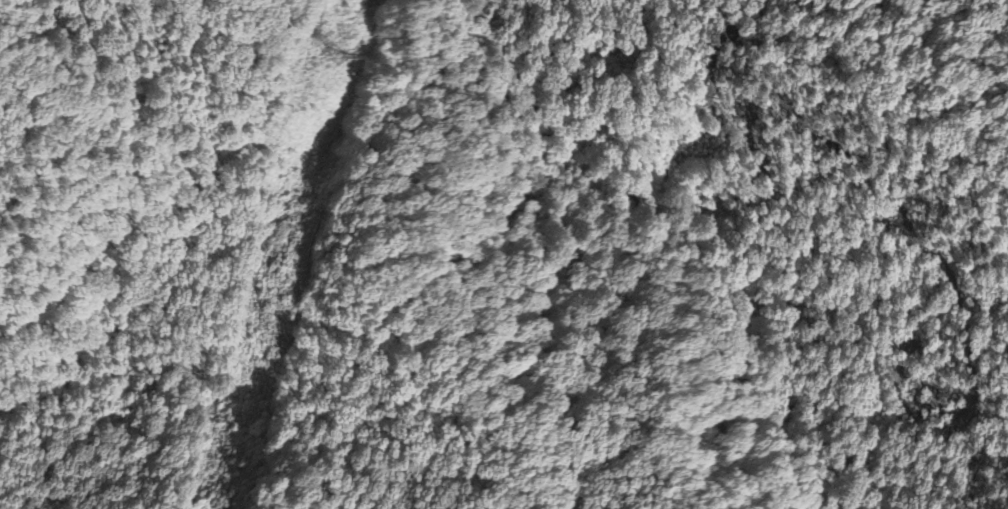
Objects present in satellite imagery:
power tower: (321, 55)

